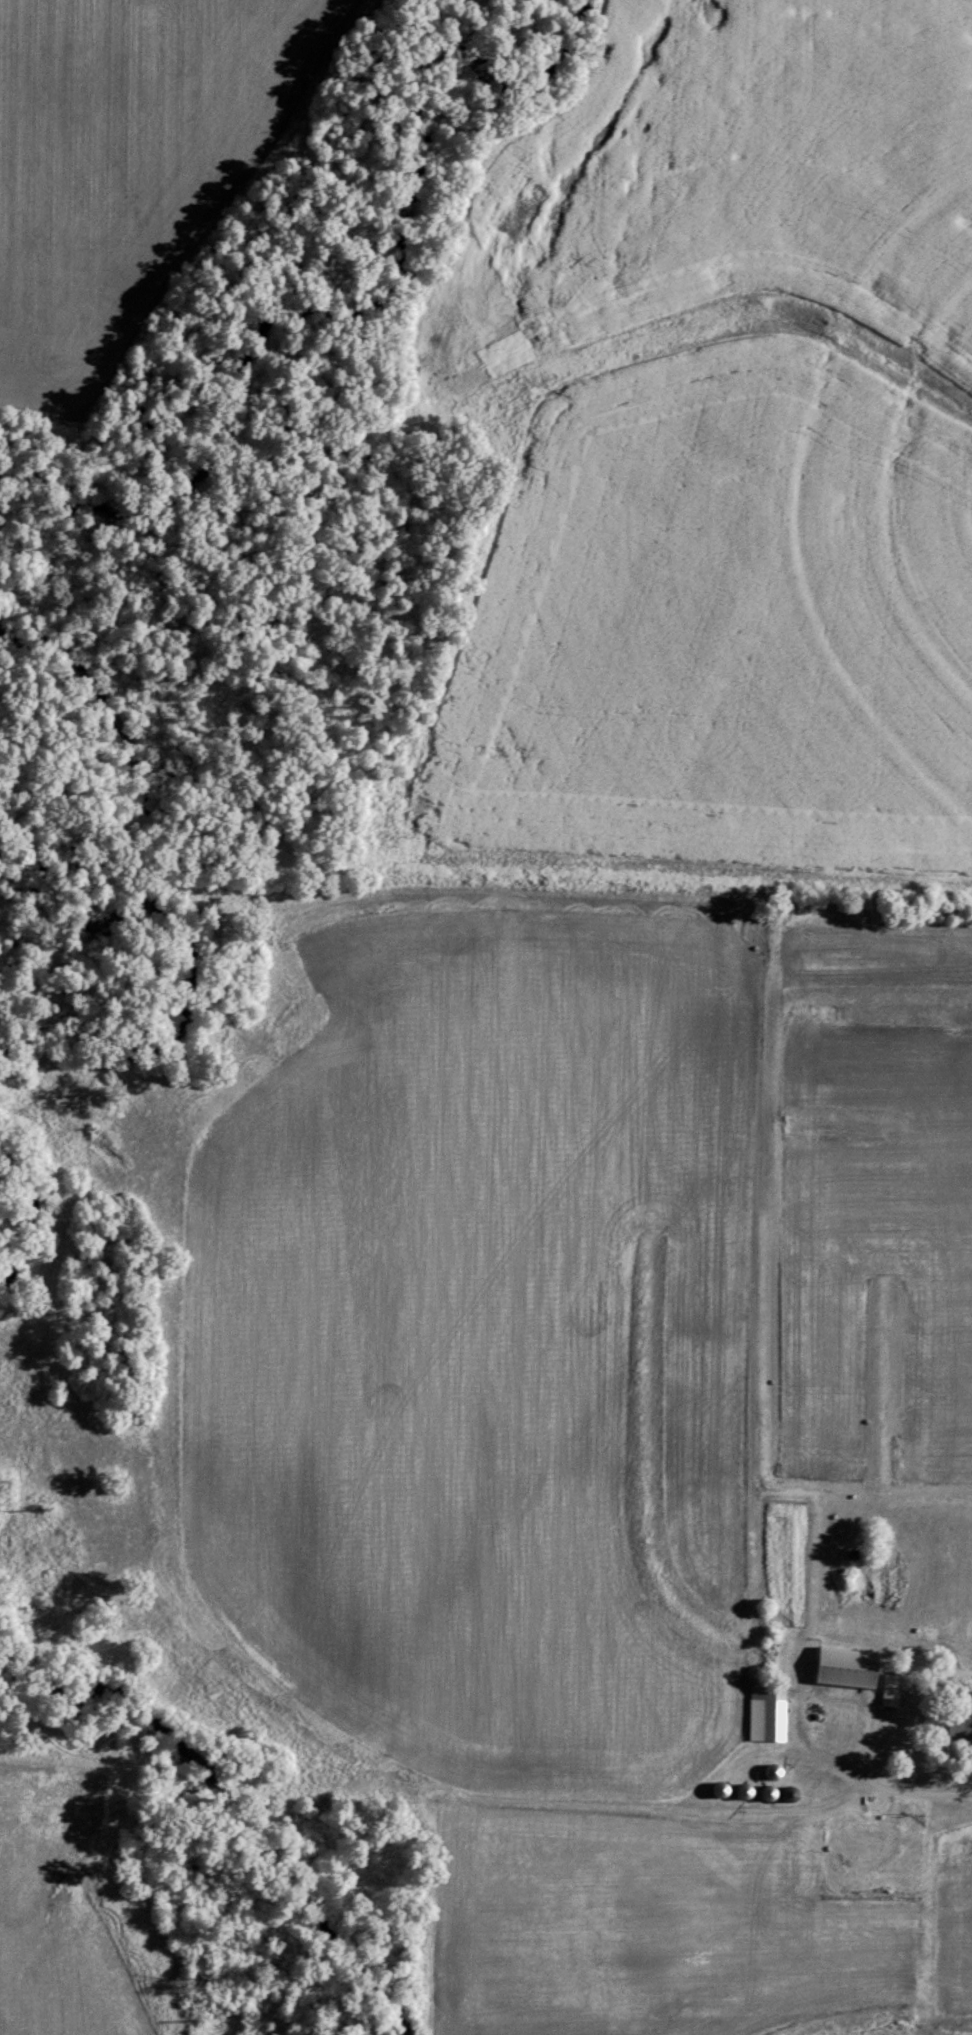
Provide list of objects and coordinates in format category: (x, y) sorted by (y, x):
building: (844, 1666)
building: (889, 1690)
building: (766, 1712)
building: (958, 1727)
road: (850, 1779)
road: (647, 1802)

